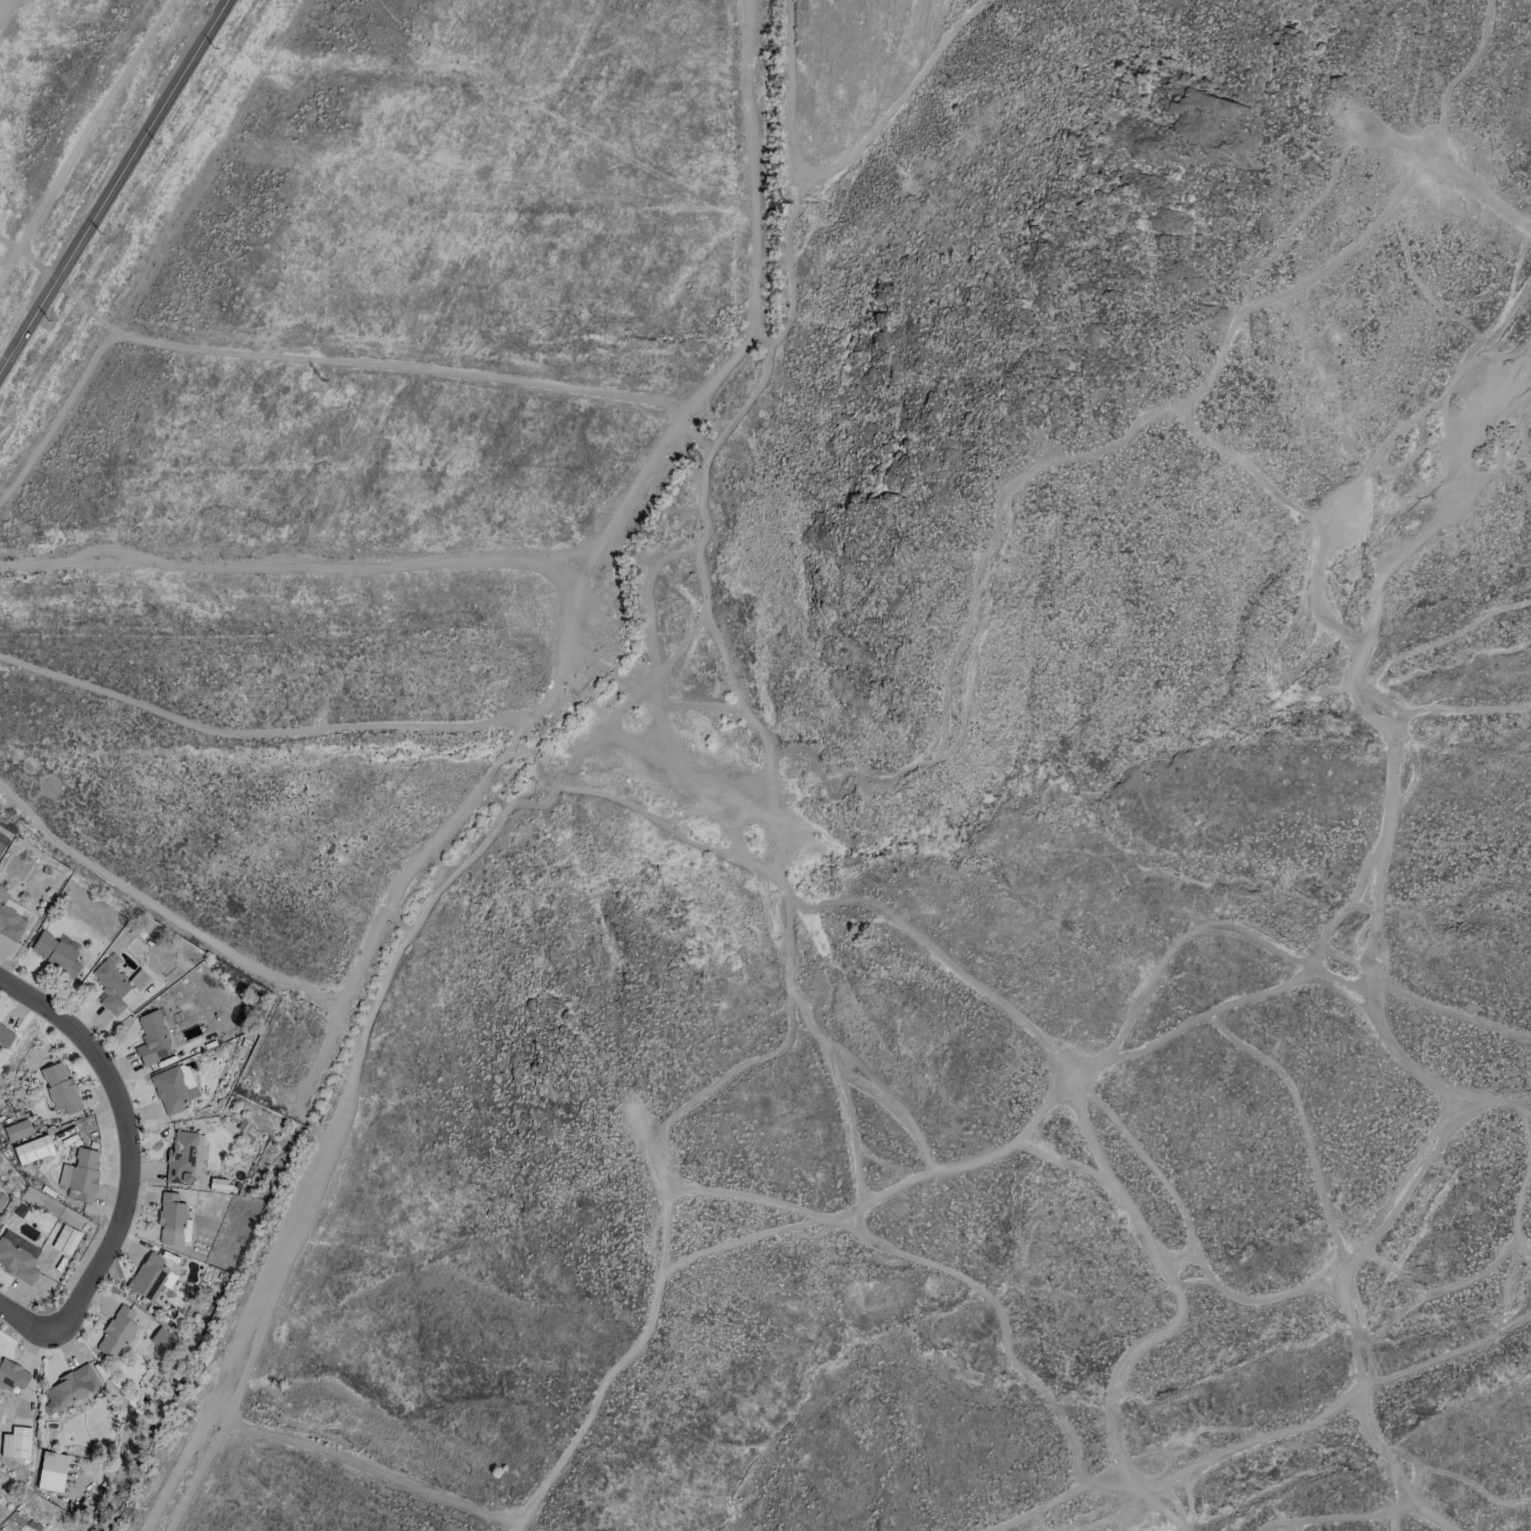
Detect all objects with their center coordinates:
road: (1436, 130)
road: (838, 165)
road: (115, 185)
building: (10, 918)
building: (54, 954)
road: (1376, 955)
building: (110, 986)
building: (5, 1037)
building: (152, 1039)
building: (59, 1088)
building: (173, 1088)
building: (17, 1130)
road: (128, 1143)
building: (32, 1149)
building: (183, 1157)
building: (80, 1175)
building: (217, 1184)
building: (2, 1200)
building: (171, 1219)
building: (17, 1257)
building: (148, 1277)
road: (25, 1322)
building: (116, 1333)
building: (163, 1339)
building: (11, 1376)
building: (70, 1388)
building: (15, 1443)
building: (51, 1471)

